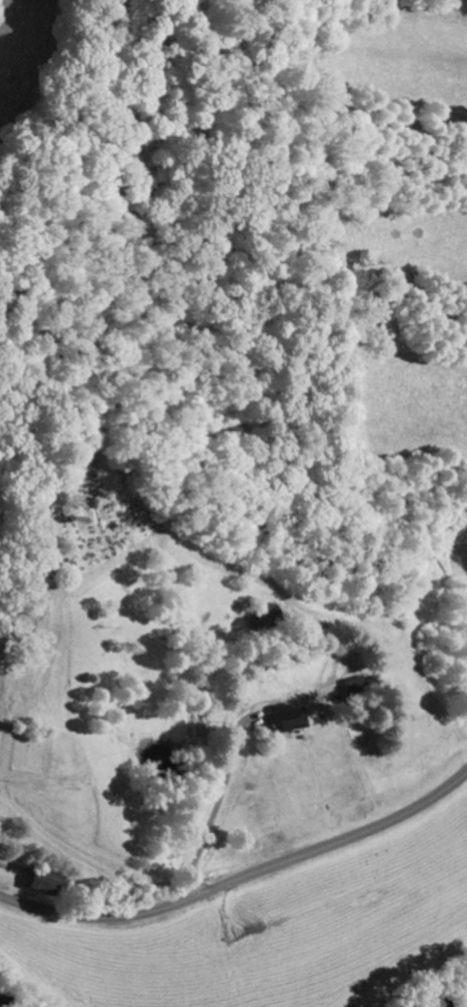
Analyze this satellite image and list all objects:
building: (286, 720)
road: (67, 852)
road: (240, 879)
building: (43, 884)
river: (457, 1001)
river: (1, 1005)

